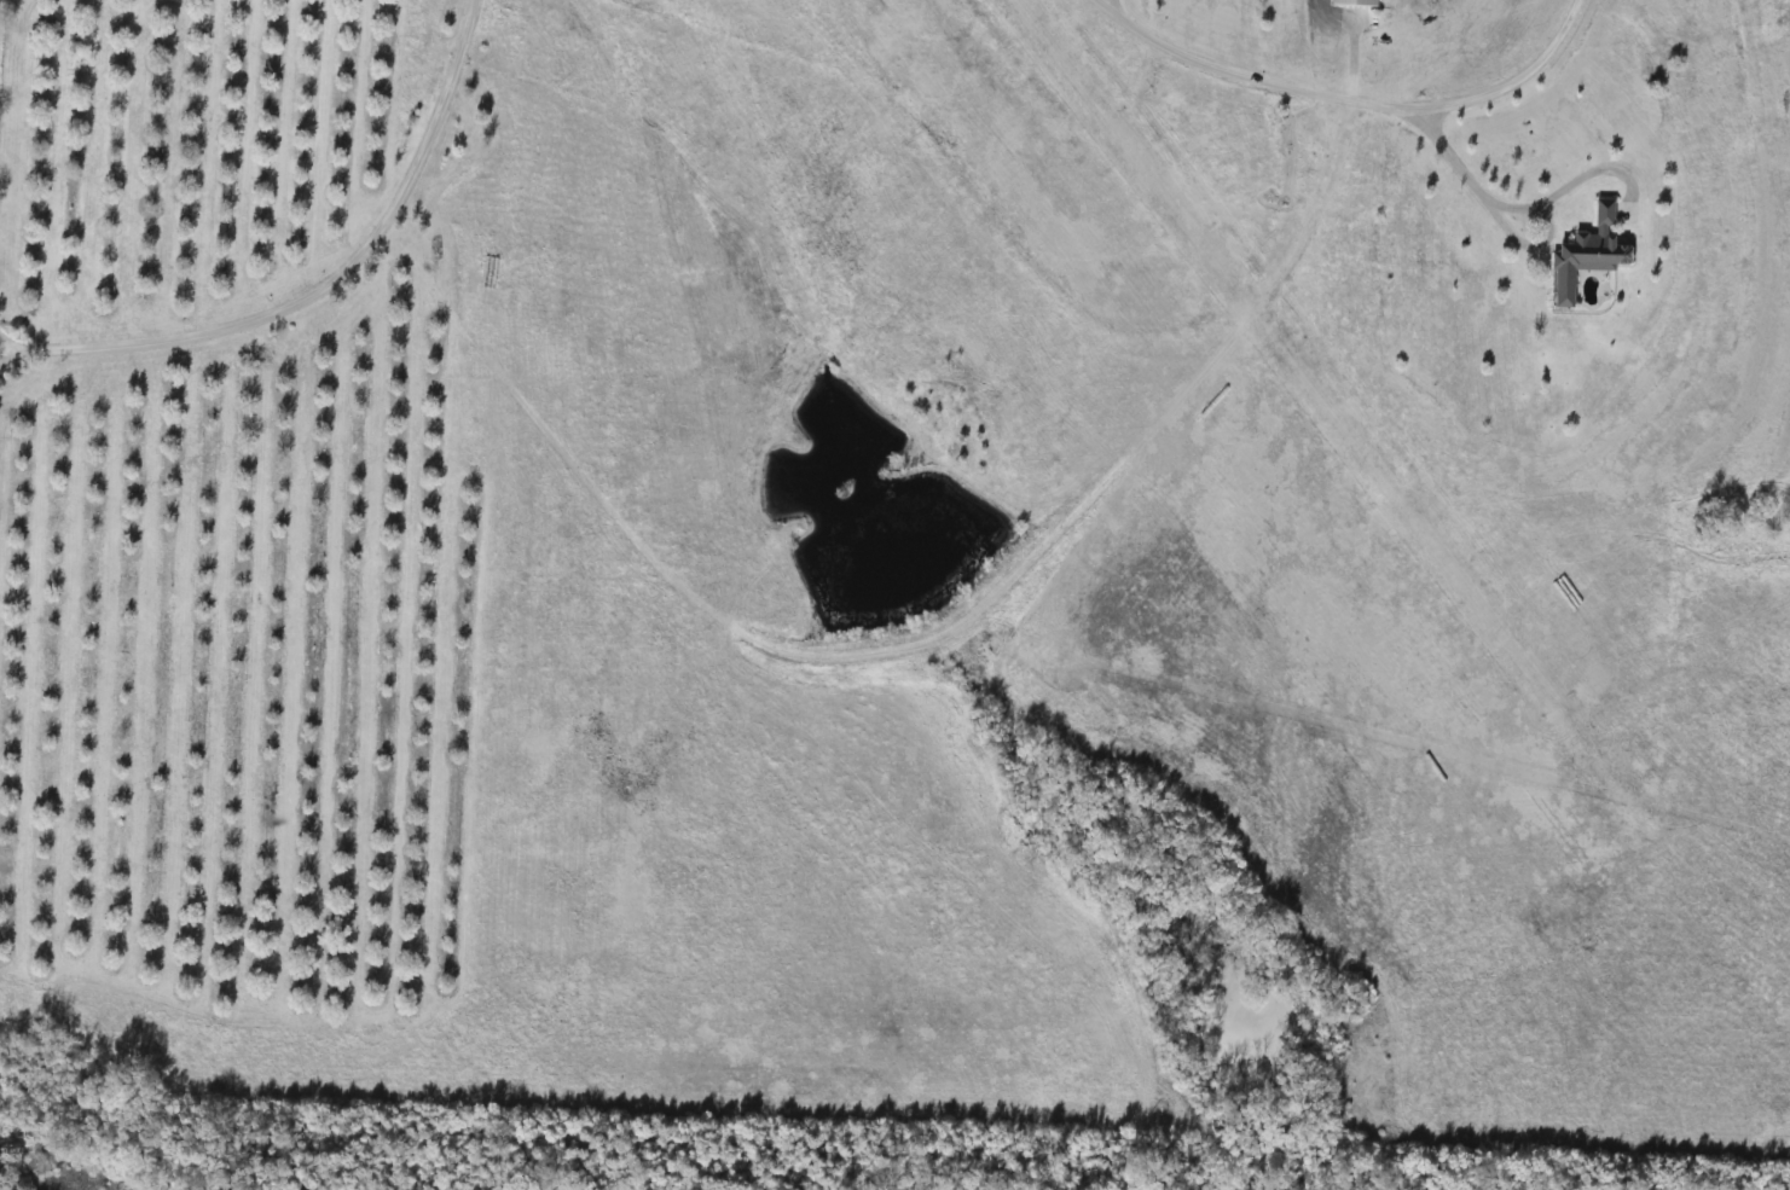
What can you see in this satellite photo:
road: (1101, 4)
building: (1357, 4)
road: (1343, 99)
road: (1488, 198)
building: (1589, 254)
road: (318, 285)

